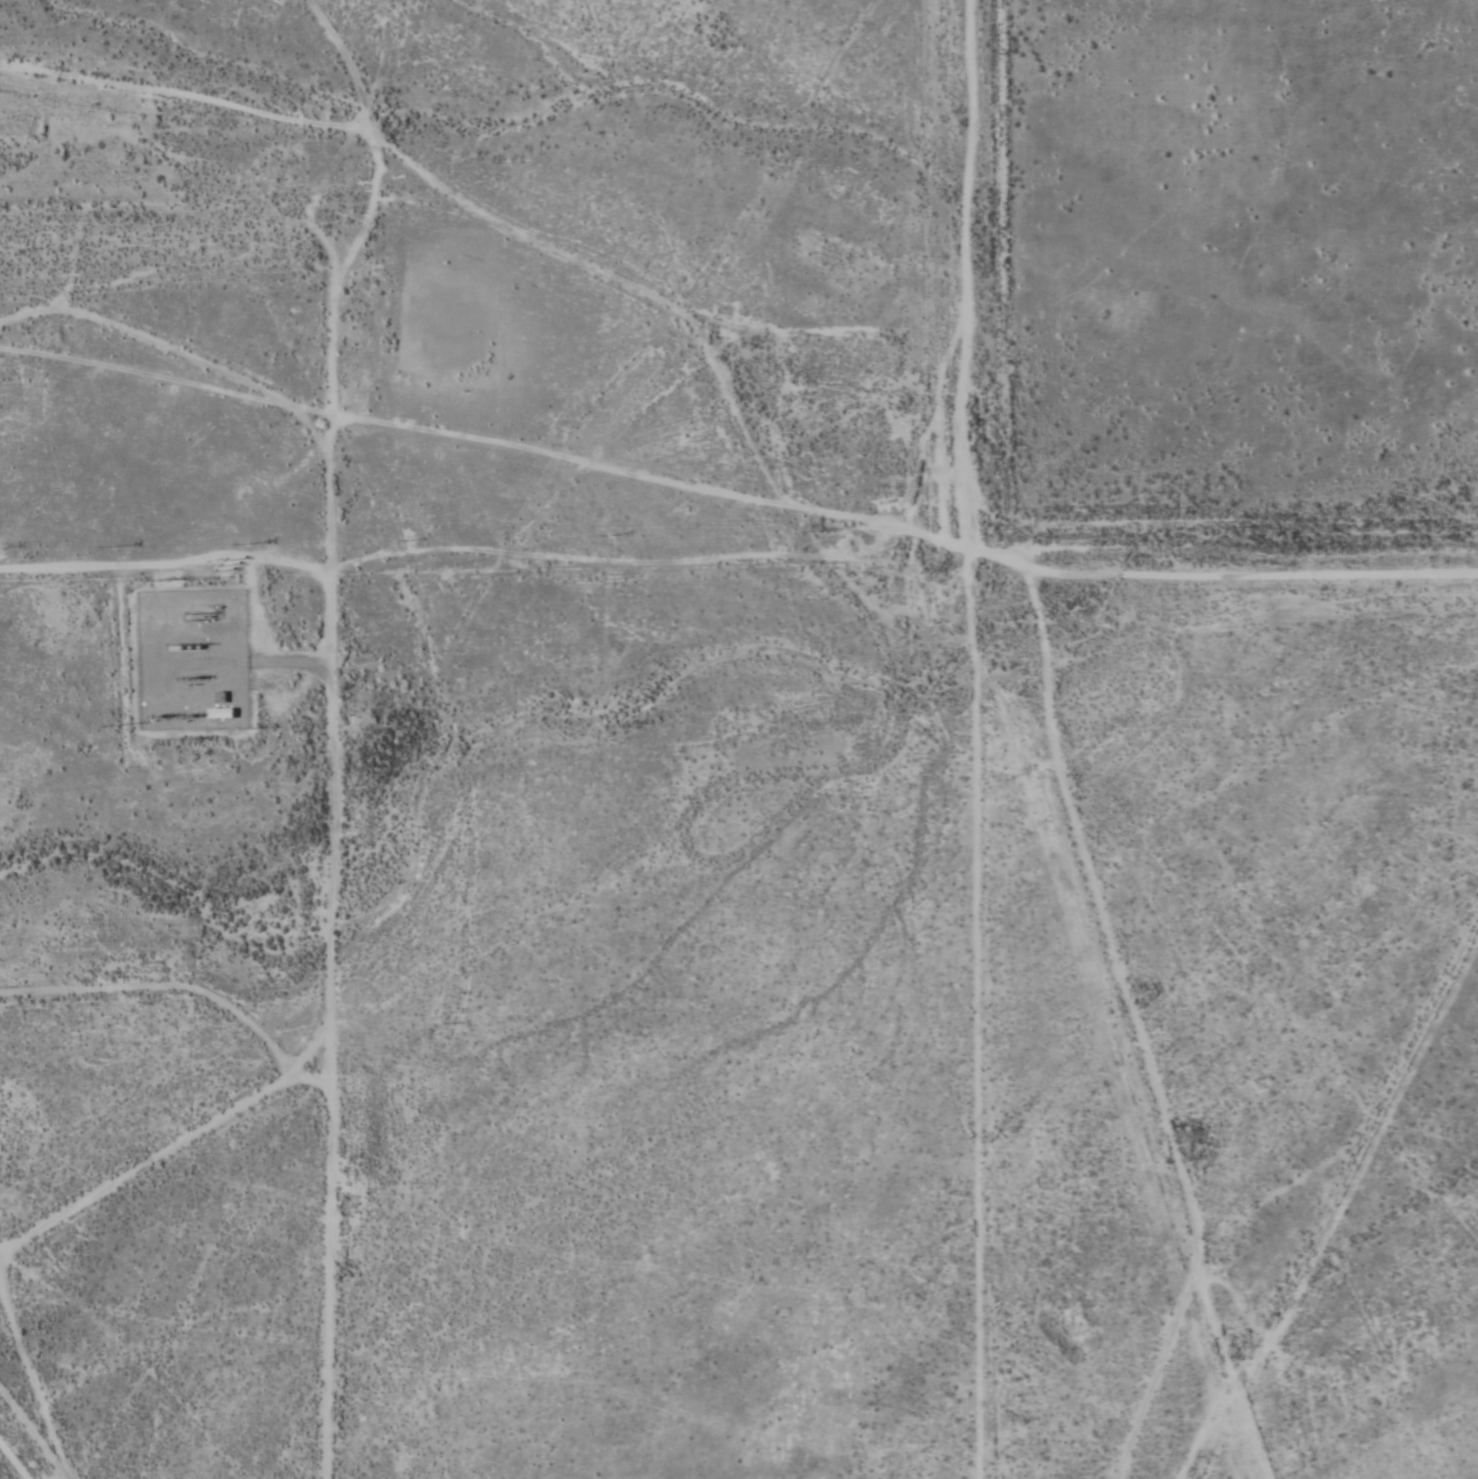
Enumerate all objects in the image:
road: (625, 340)
road: (166, 565)
road: (330, 778)
road: (34, 1372)
road: (1197, 1437)

